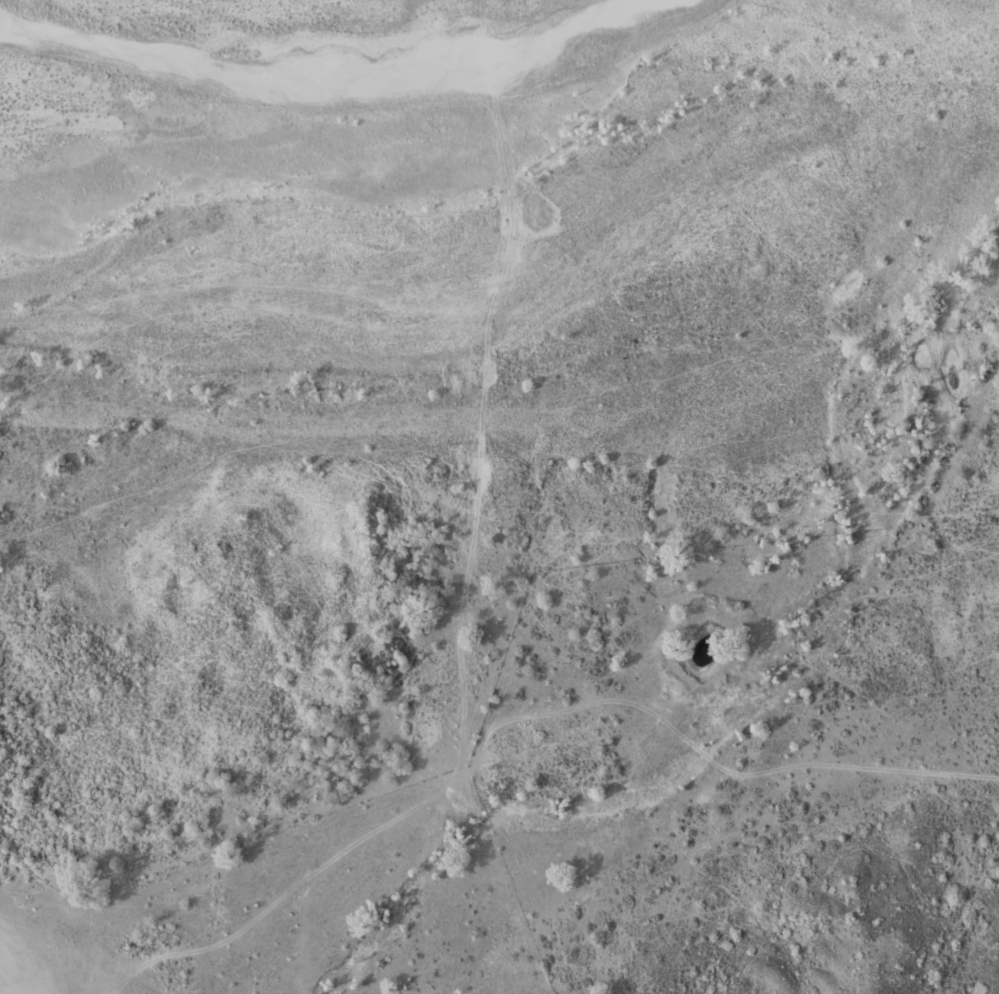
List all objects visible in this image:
river: (315, 64)

